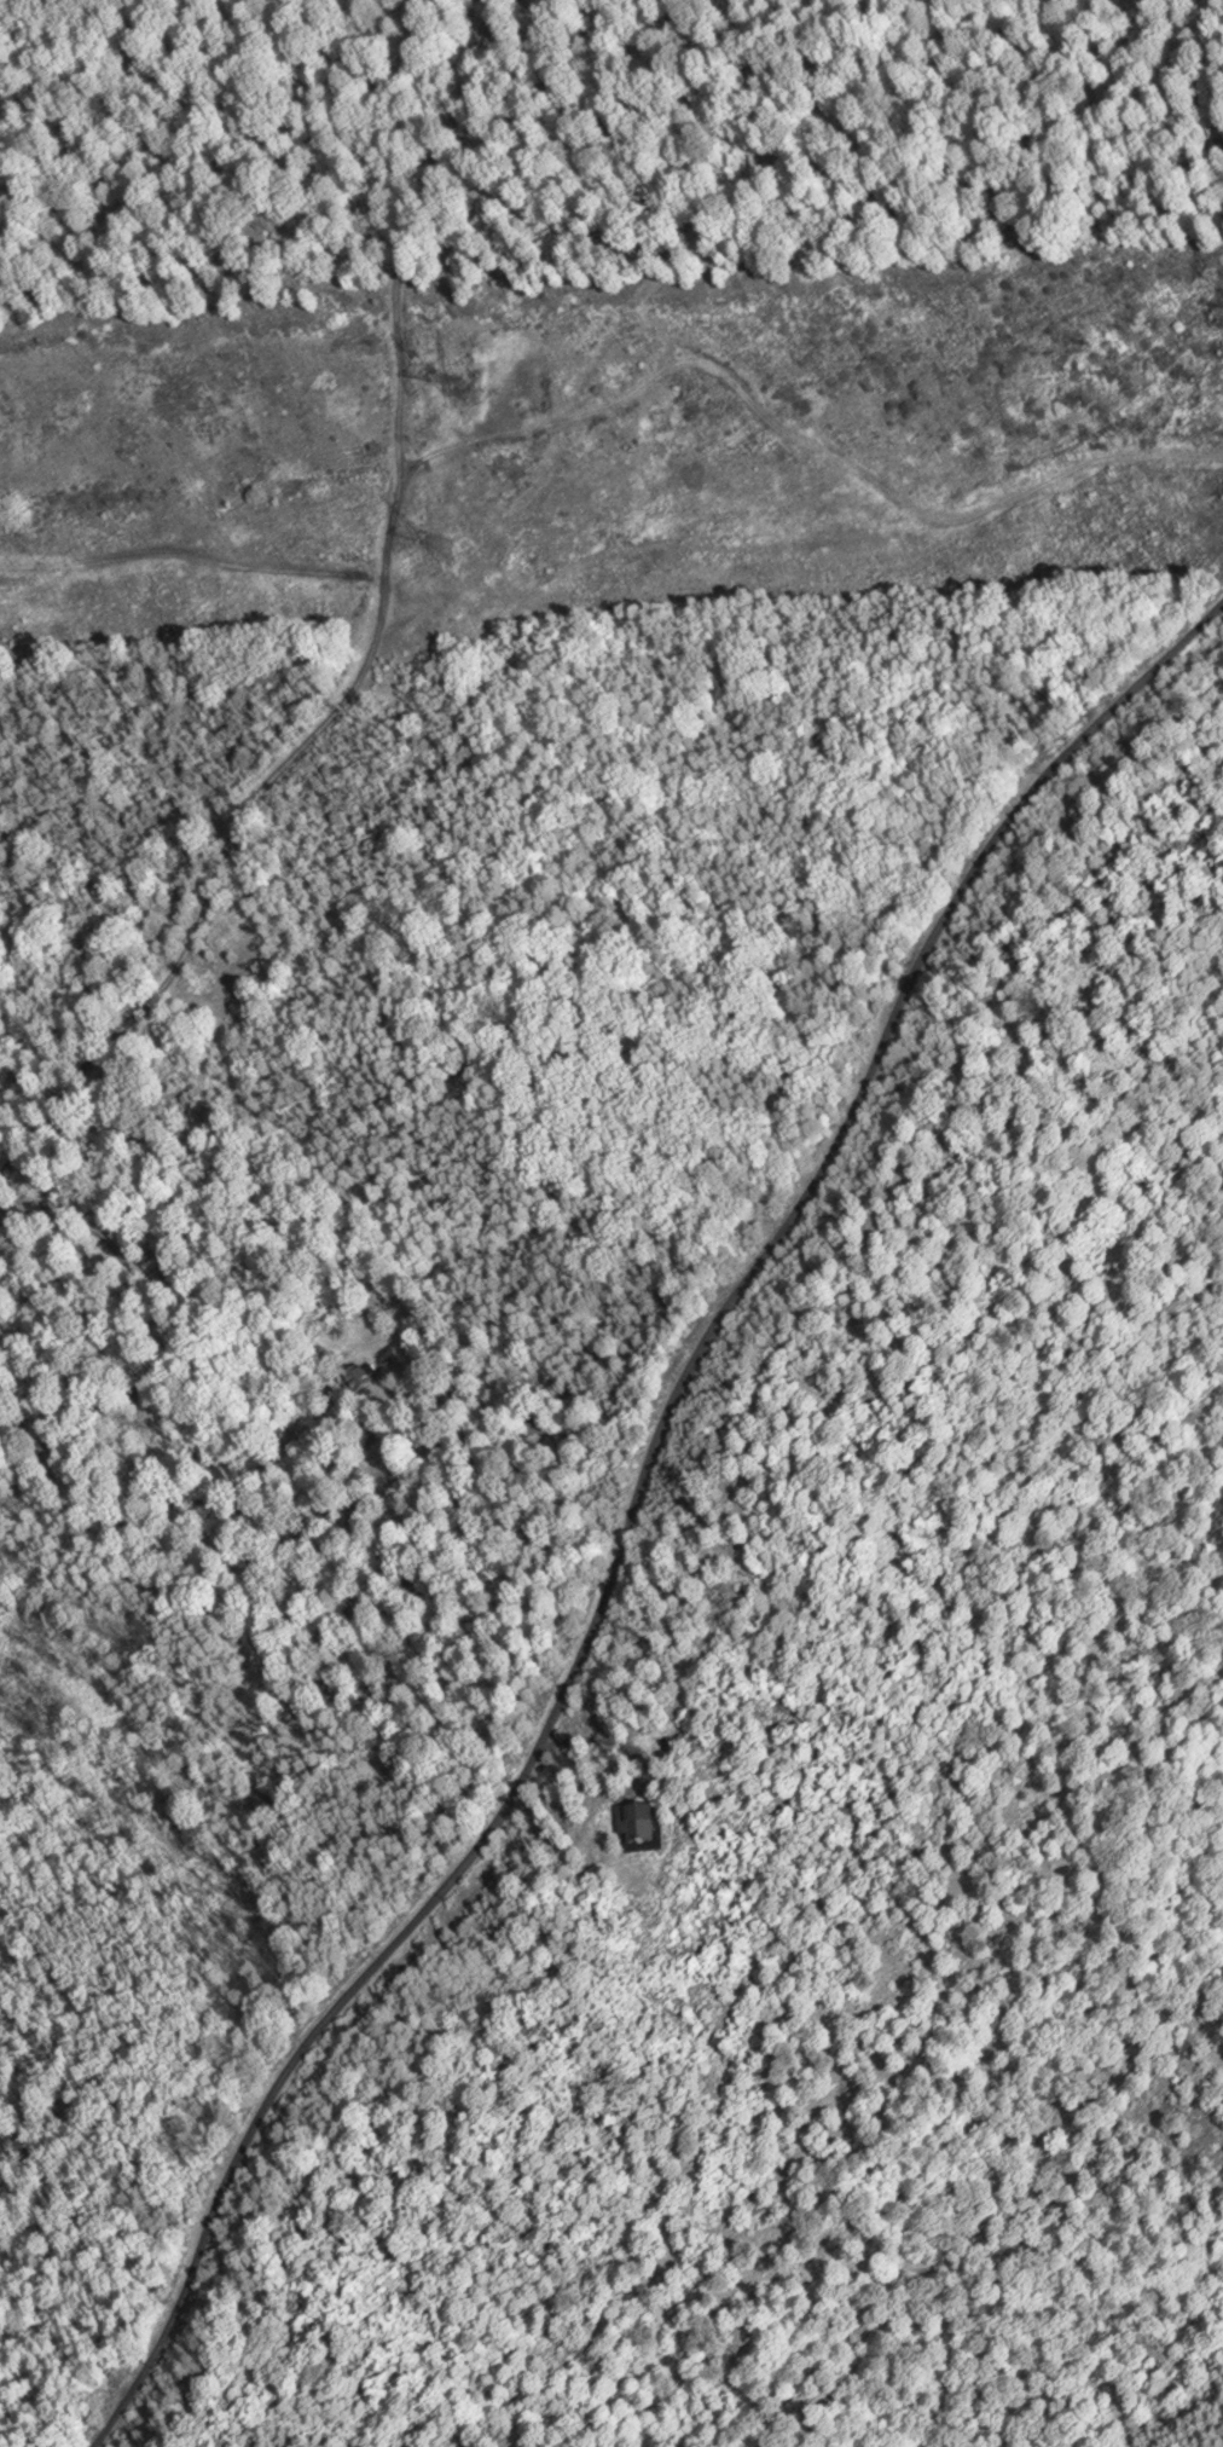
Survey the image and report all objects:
power tower: (457, 391)
power tower: (446, 549)
road: (614, 1528)
building: (637, 1822)

